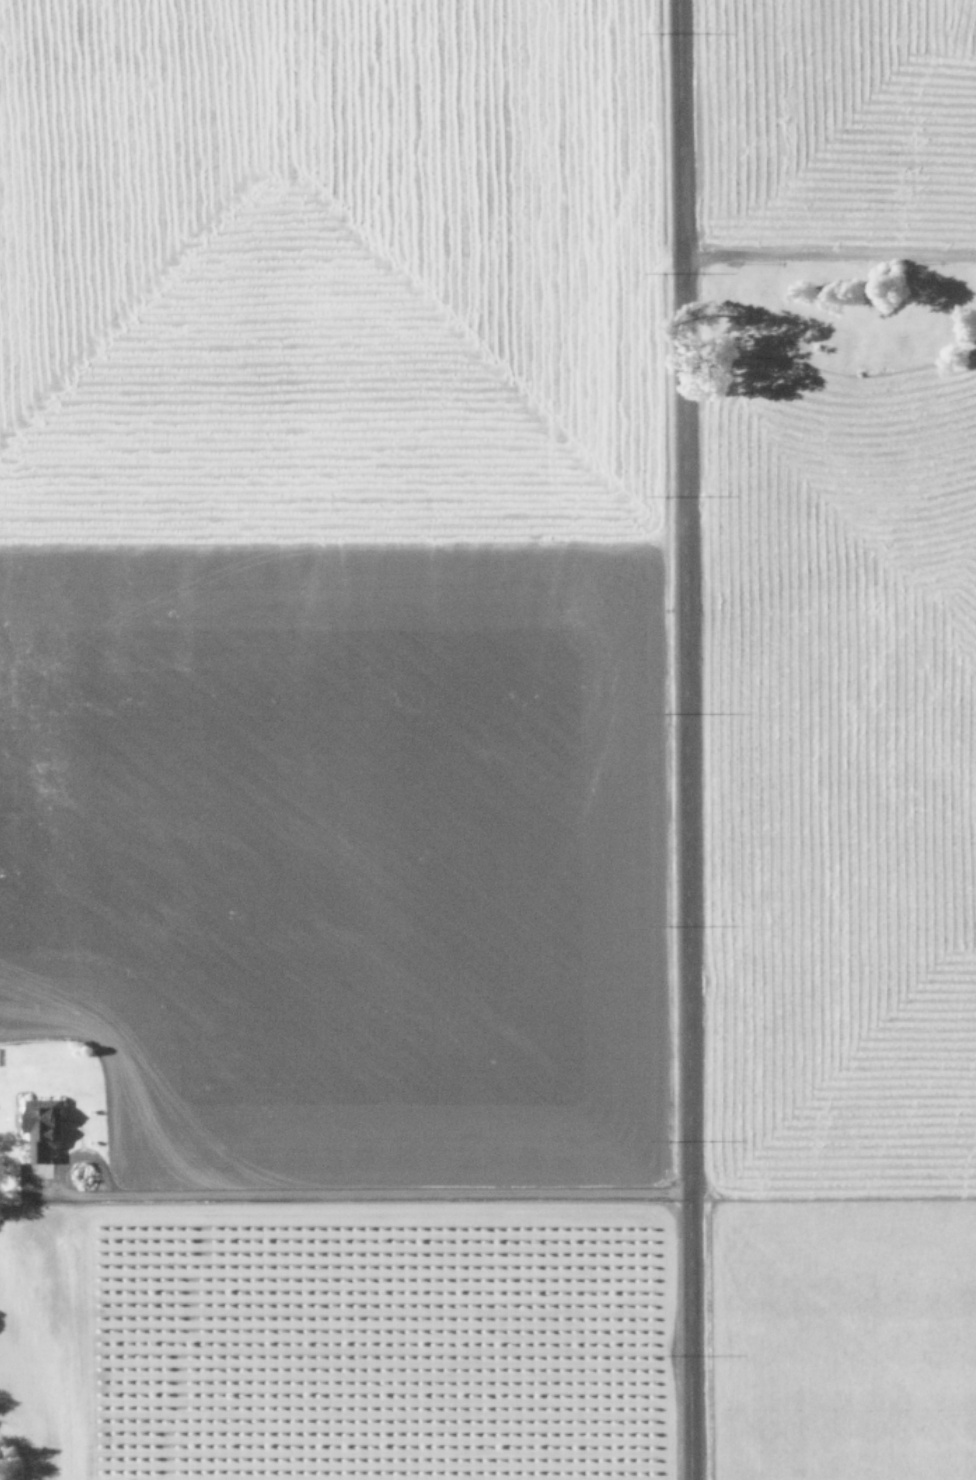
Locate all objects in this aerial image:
crop: (491, 735)
road: (684, 739)
road: (382, 1196)

